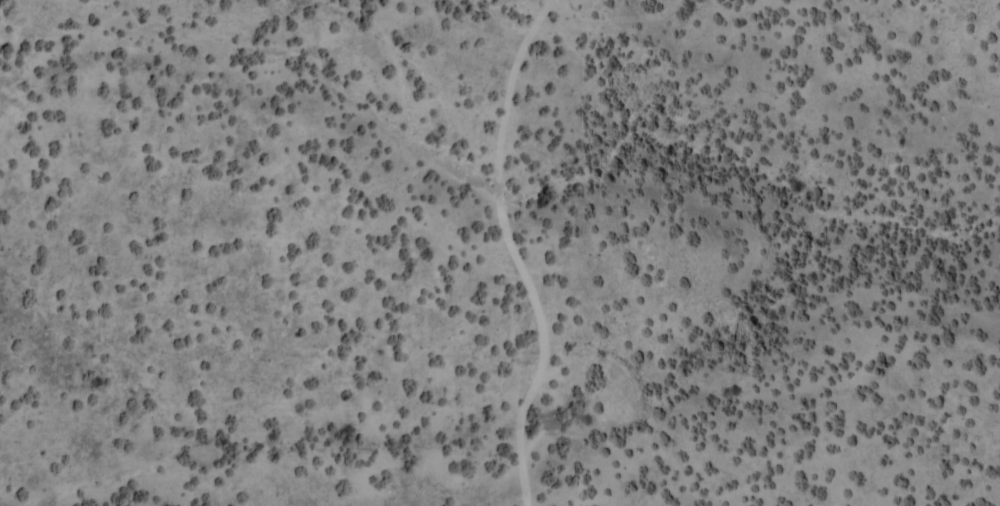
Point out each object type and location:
road: (499, 253)

